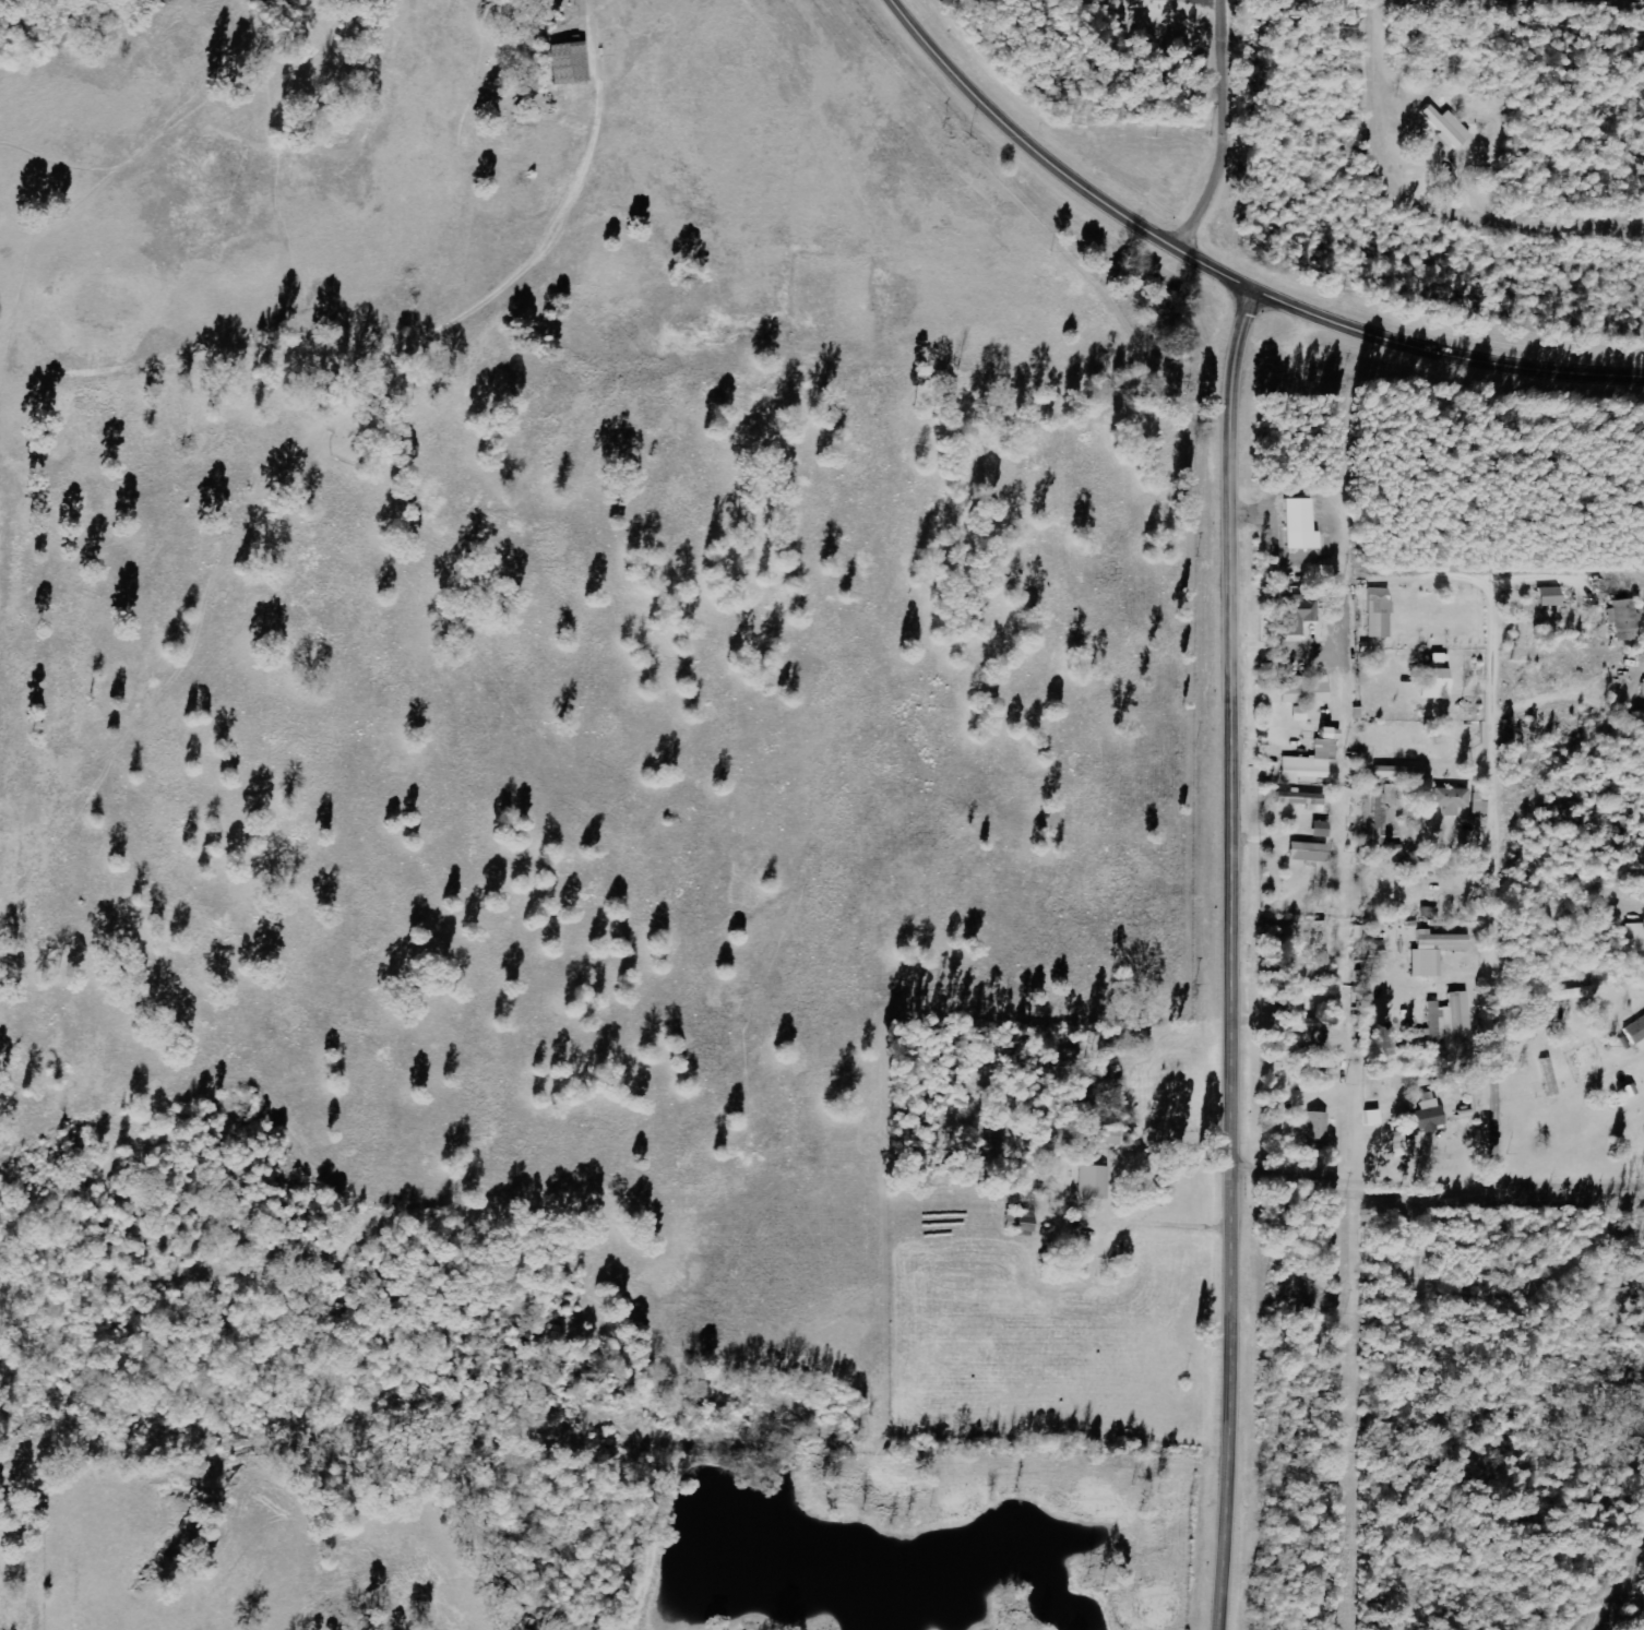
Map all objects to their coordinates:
building: (1161, 0)
building: (569, 63)
building: (1445, 127)
road: (1225, 132)
road: (1419, 207)
road: (1223, 277)
building: (1298, 526)
building: (1321, 574)
road: (1433, 585)
building: (1550, 597)
building: (1378, 615)
building: (1296, 616)
building: (1624, 620)
building: (1434, 685)
building: (1306, 692)
building: (1311, 760)
building: (1399, 773)
building: (1300, 799)
building: (1450, 800)
building: (1478, 805)
road: (1491, 814)
building: (1321, 830)
building: (1307, 853)
building: (1428, 868)
building: (1634, 940)
building: (1442, 941)
building: (1321, 943)
road: (1230, 960)
building: (1432, 972)
building: (1443, 1013)
building: (1299, 1023)
building: (1635, 1034)
building: (1426, 1113)
building: (1317, 1126)
building: (1110, 1134)
building: (1402, 1145)
building: (1092, 1182)
road: (1434, 1188)
building: (1024, 1223)
building: (1642, 1299)
road: (1620, 1581)

